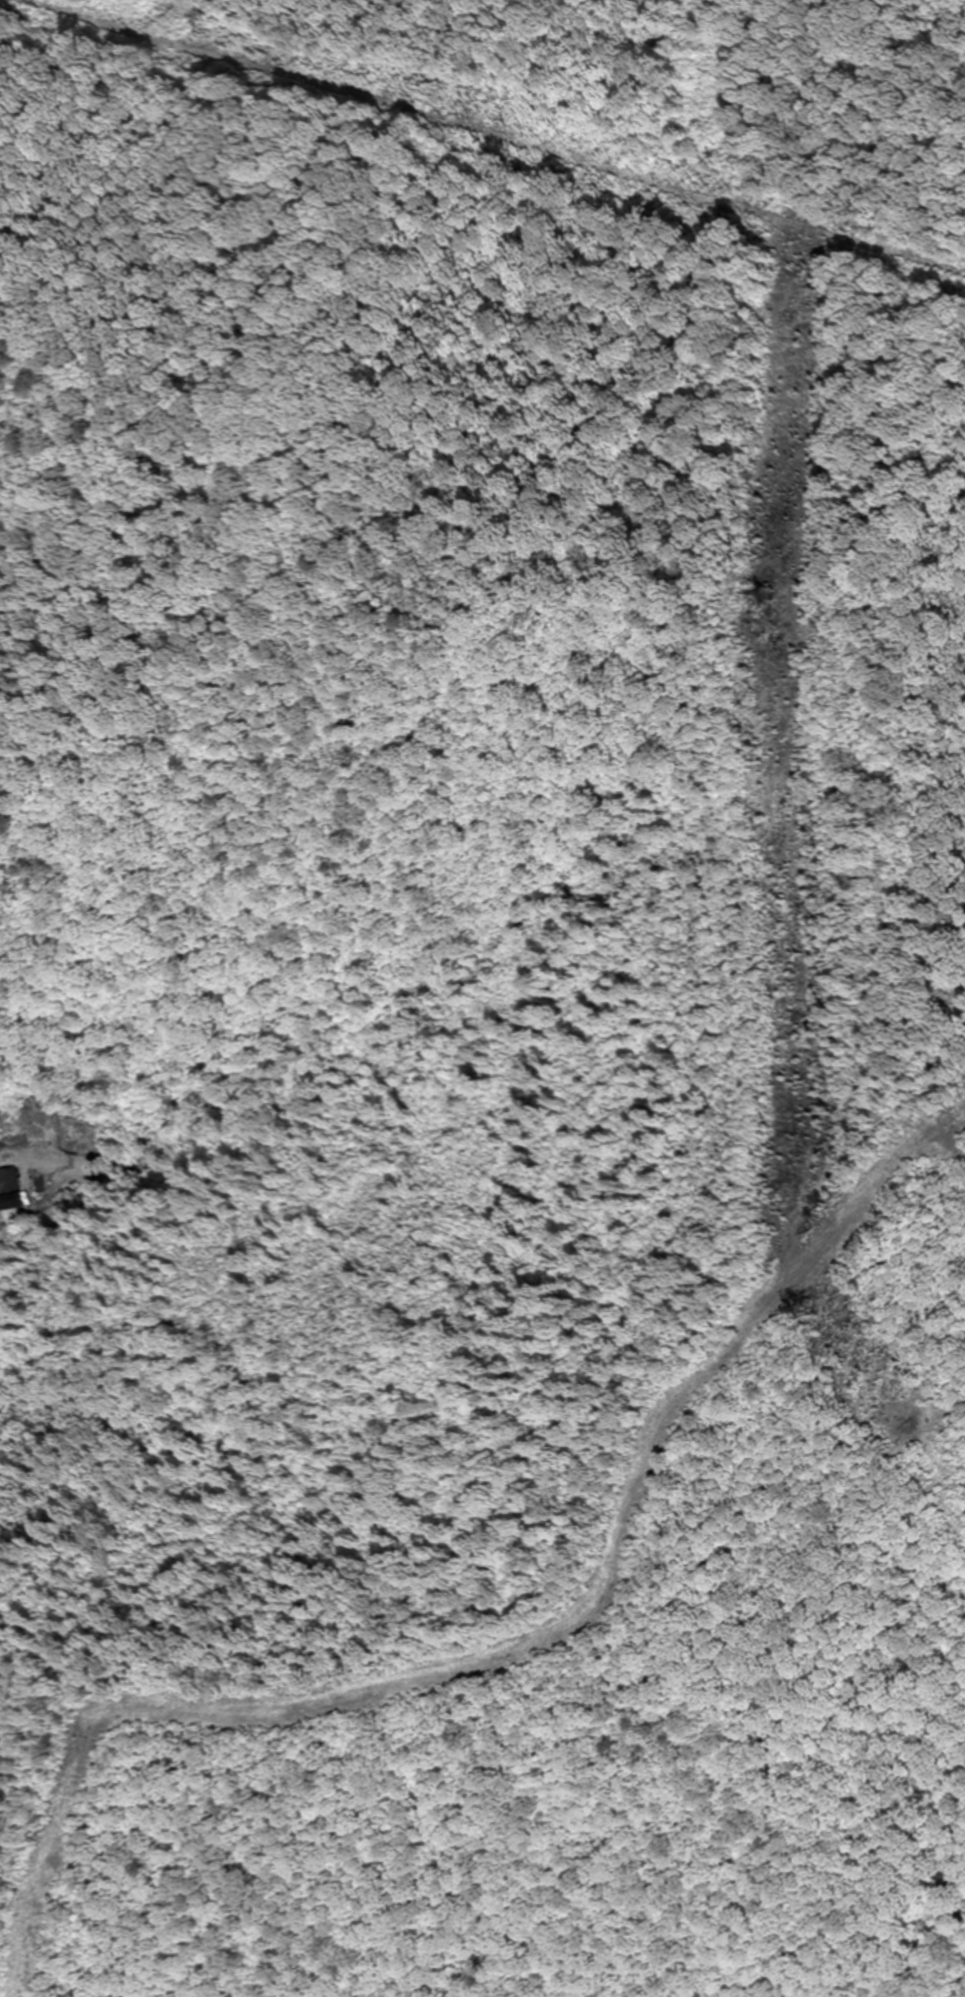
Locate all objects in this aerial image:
power tower: (778, 594)
building: (11, 1190)
power tower: (817, 1307)

